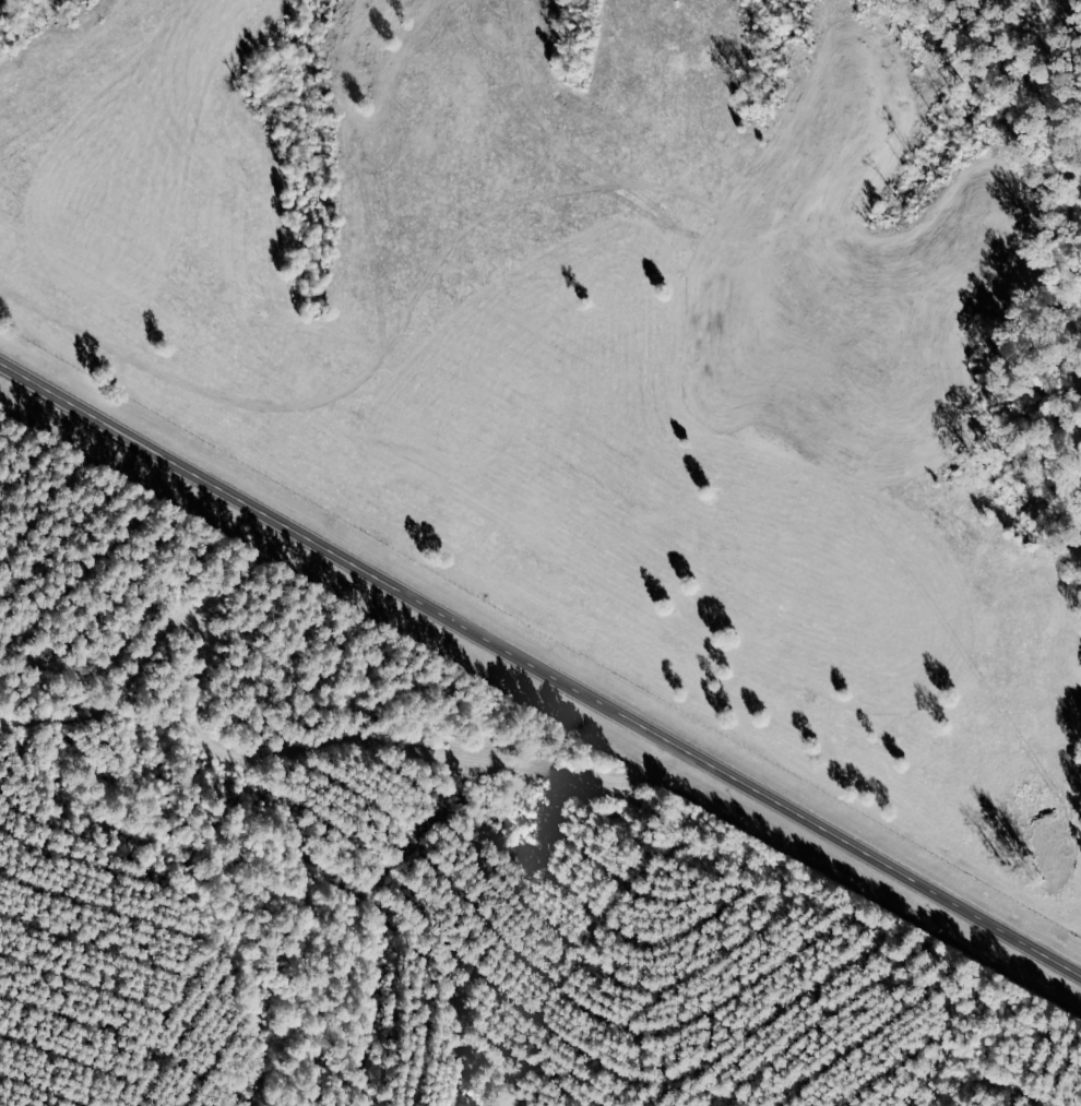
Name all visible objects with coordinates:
road: (539, 673)

